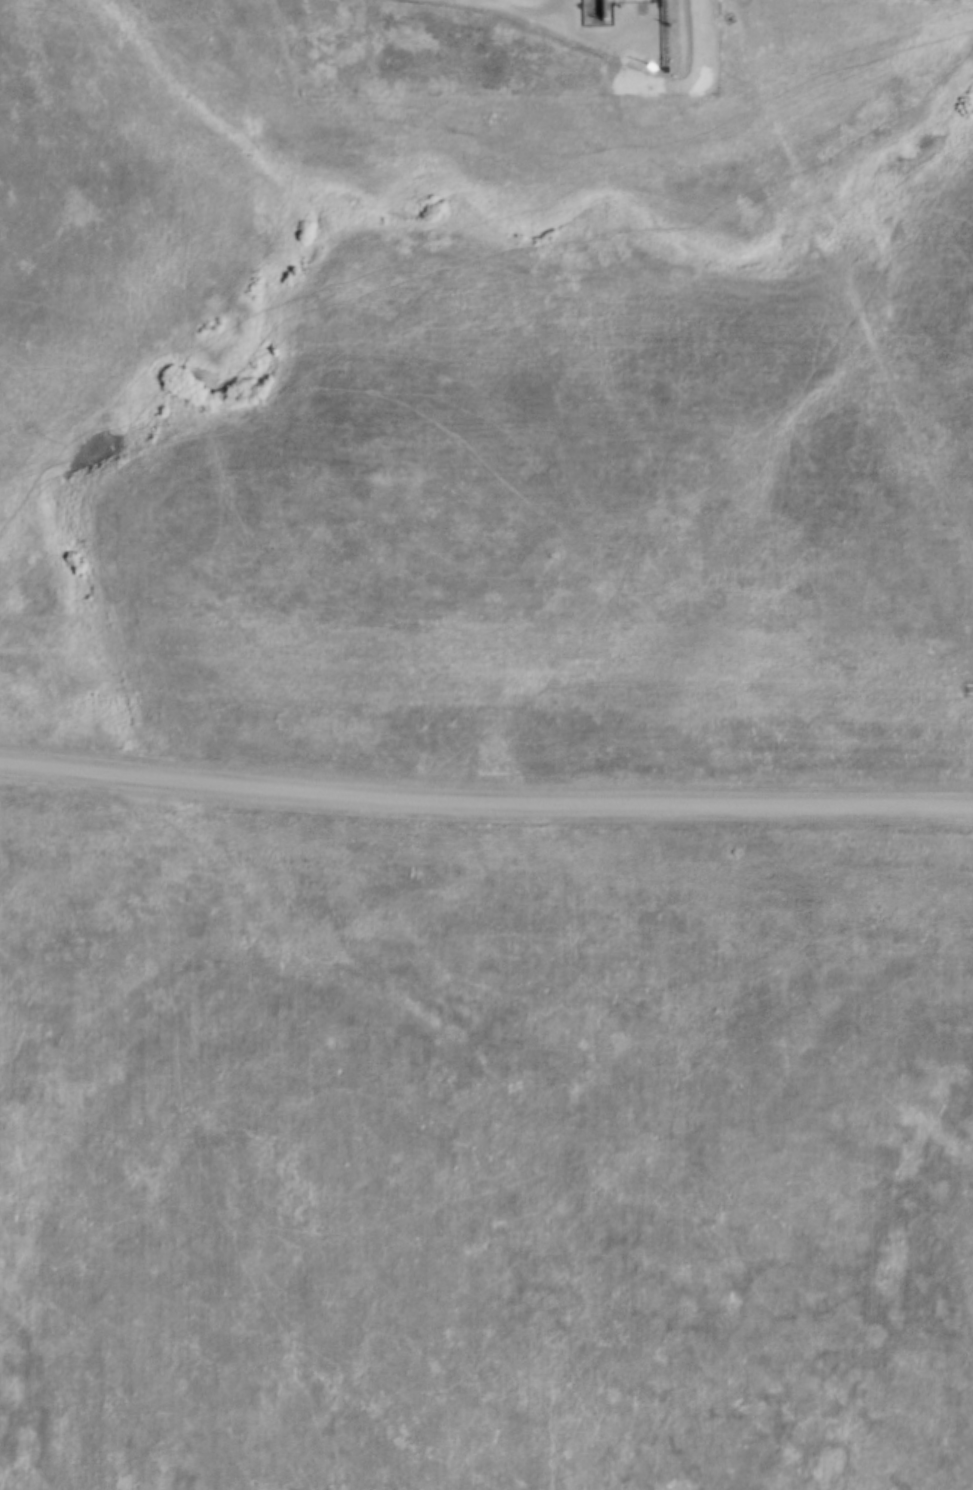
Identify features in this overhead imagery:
road: (485, 806)

